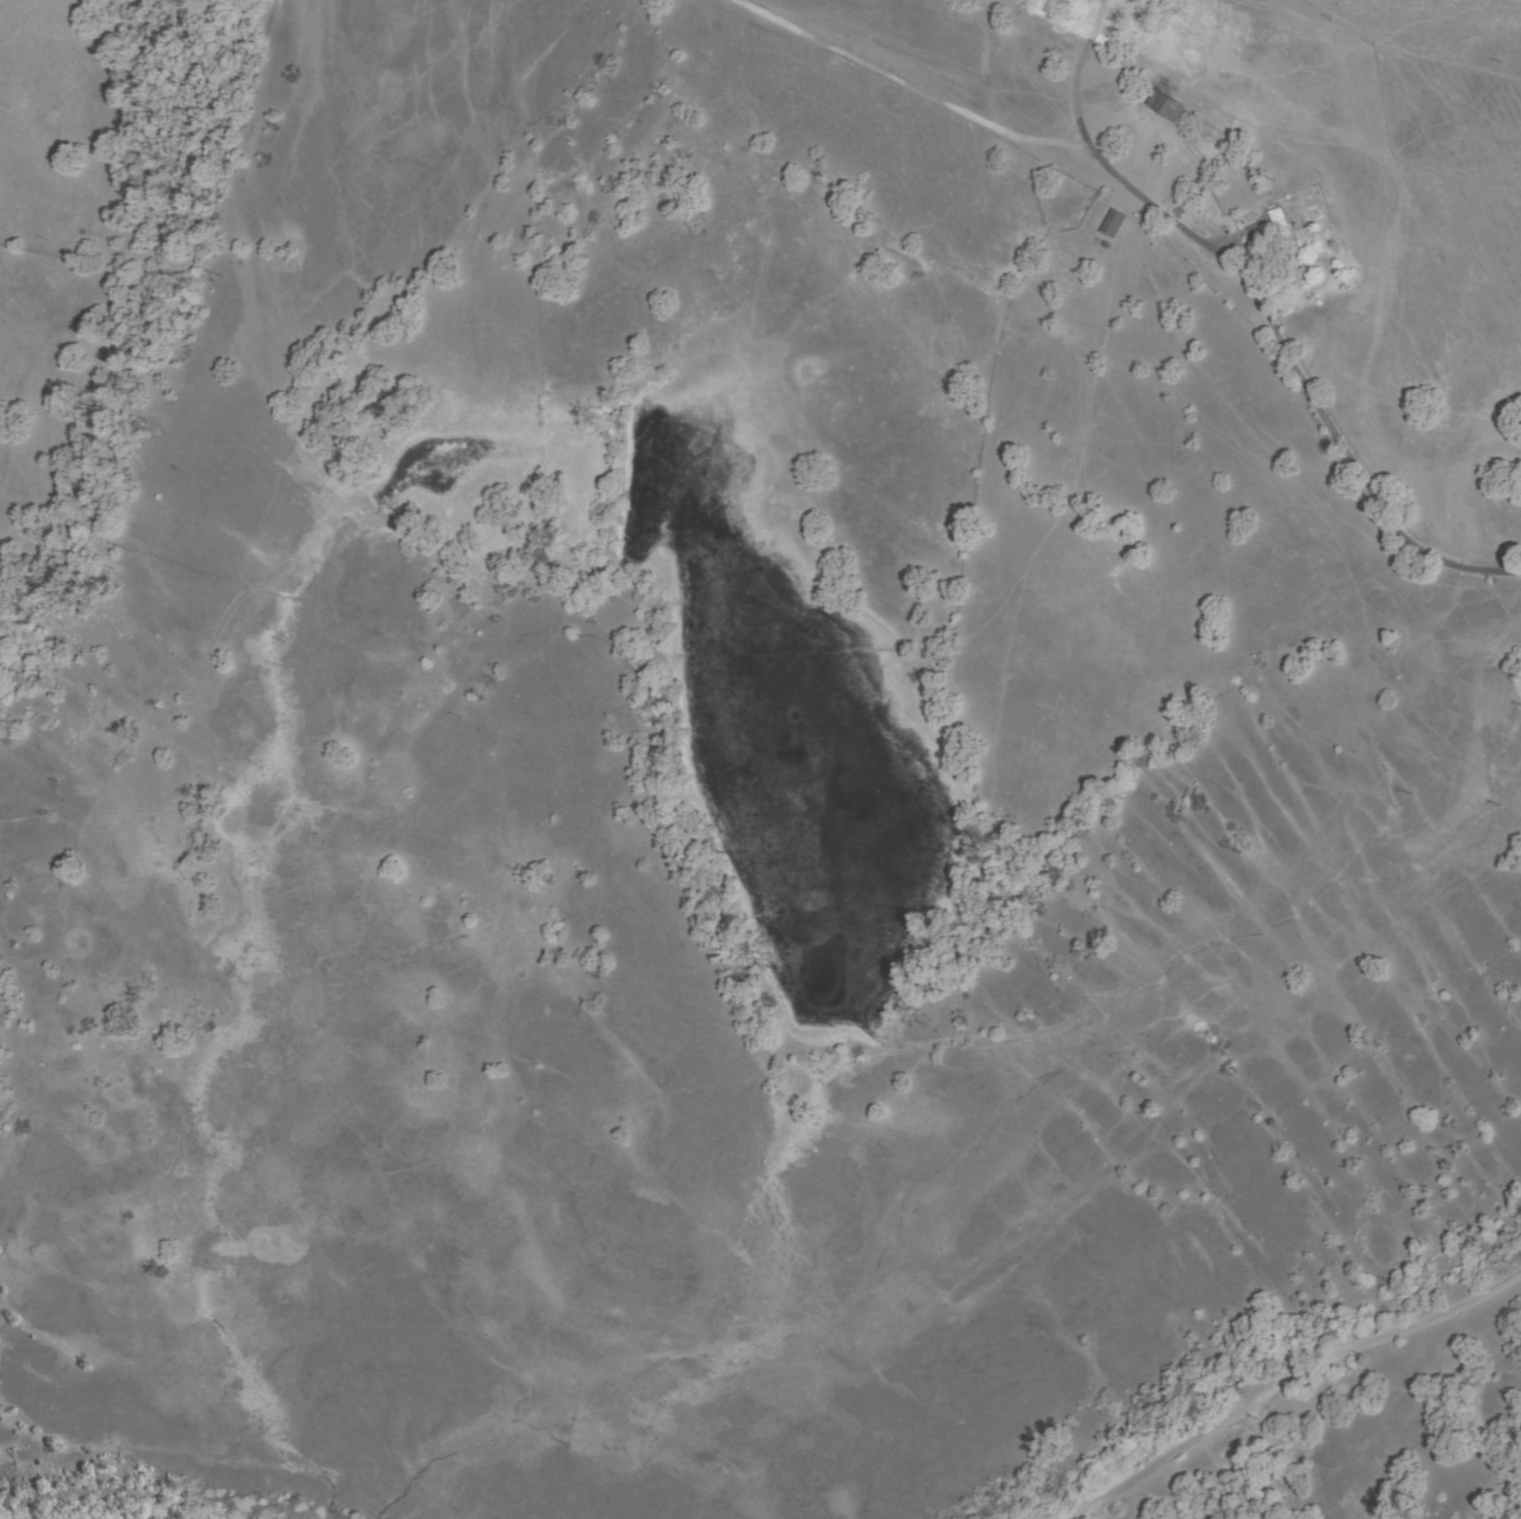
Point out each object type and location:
building: (1167, 108)
building: (1278, 222)
building: (1112, 224)
road: (1177, 228)
building: (1289, 267)
road: (1294, 1389)

